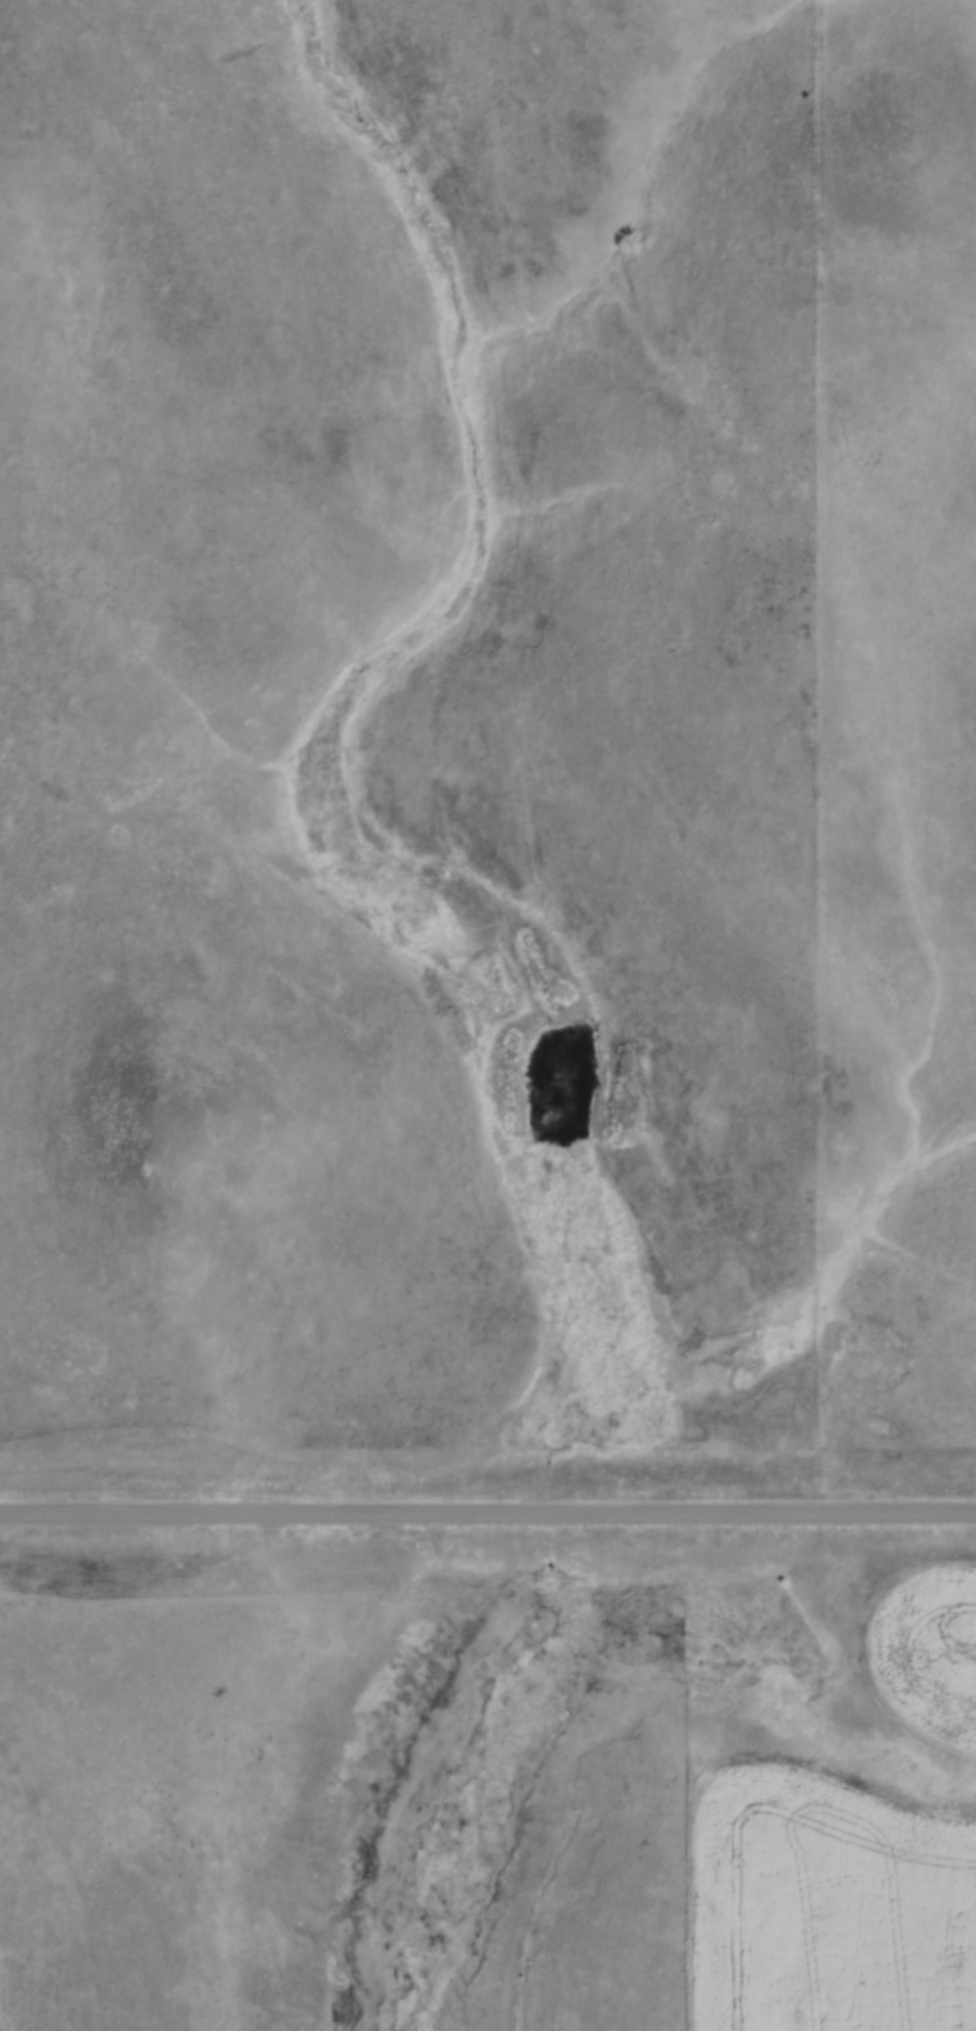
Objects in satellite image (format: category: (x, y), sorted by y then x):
road: (488, 1511)

